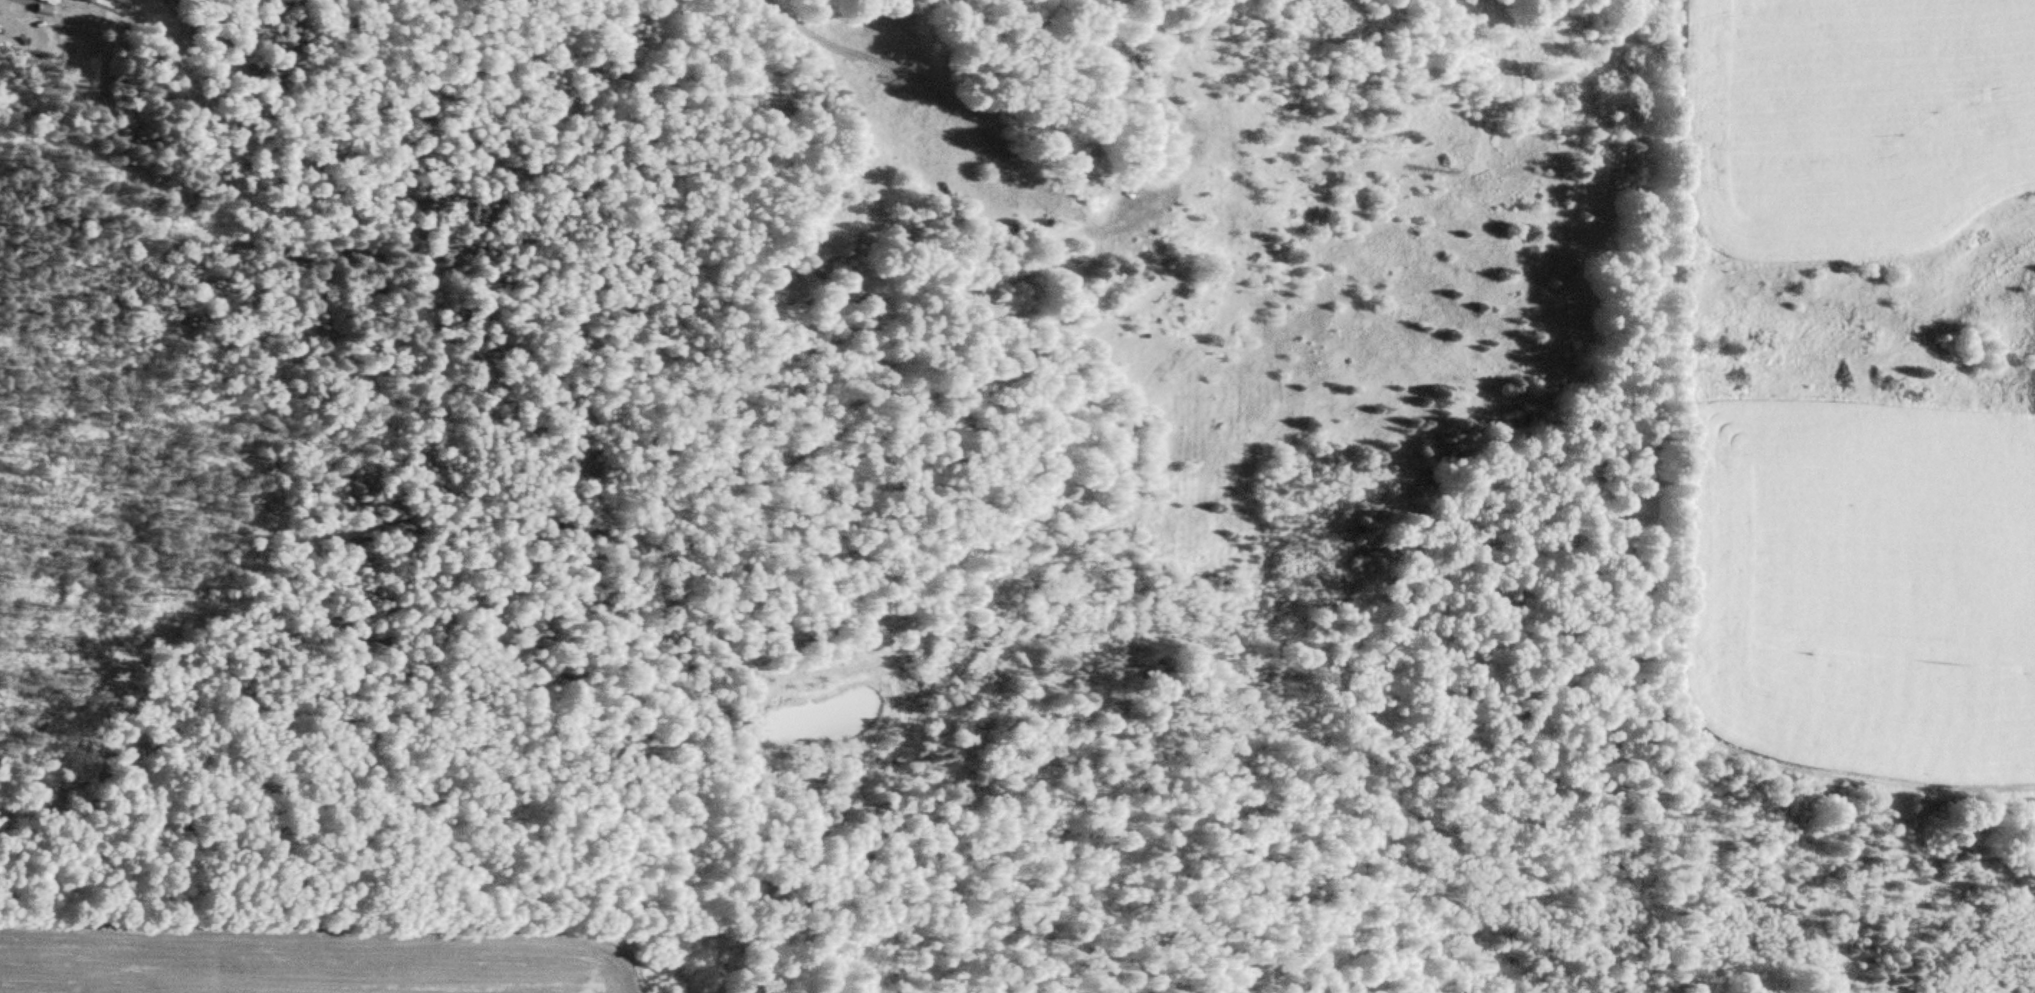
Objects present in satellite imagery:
building: (115, 0)
building: (1080, 169)

